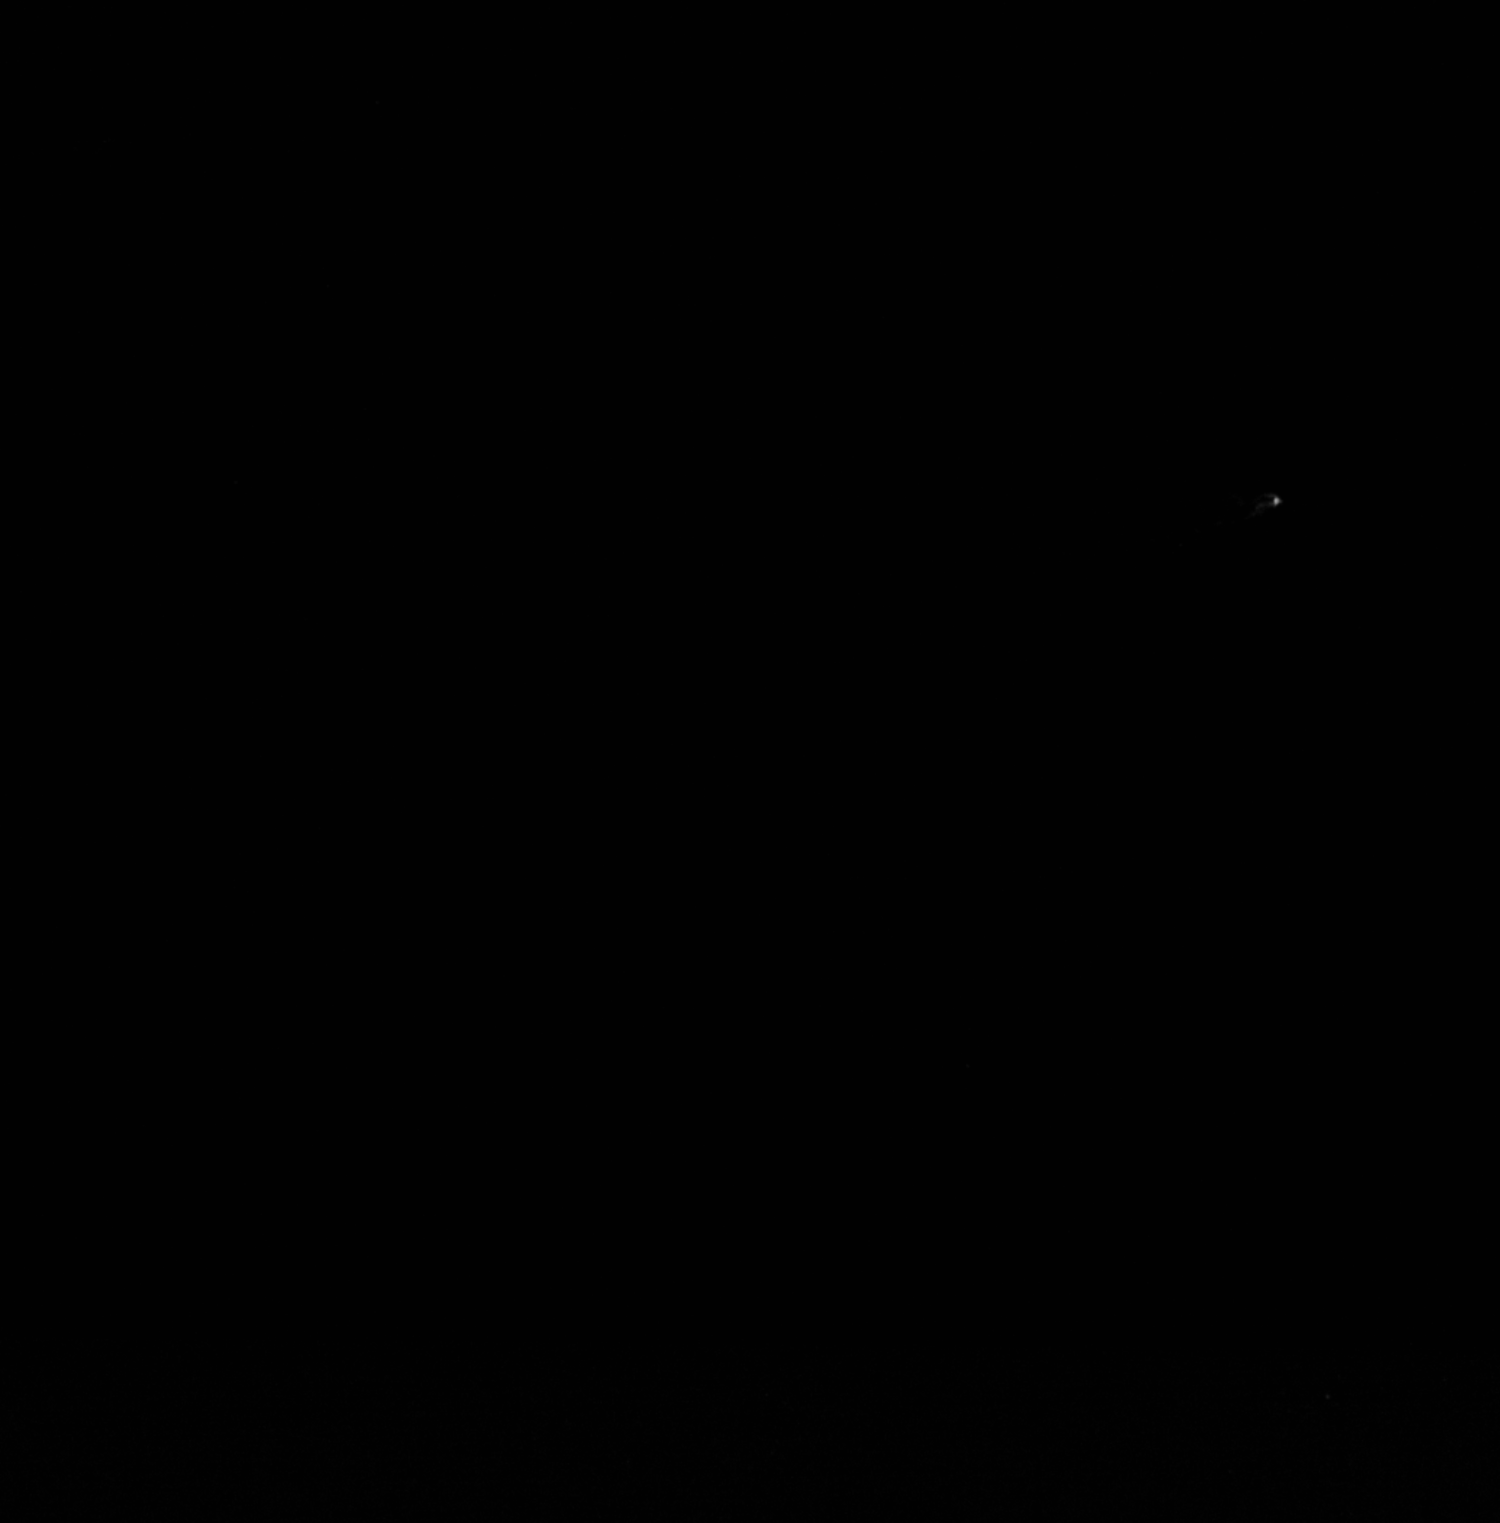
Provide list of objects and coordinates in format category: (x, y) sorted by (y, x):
river: (750, 1072)
river: (64, 1463)

